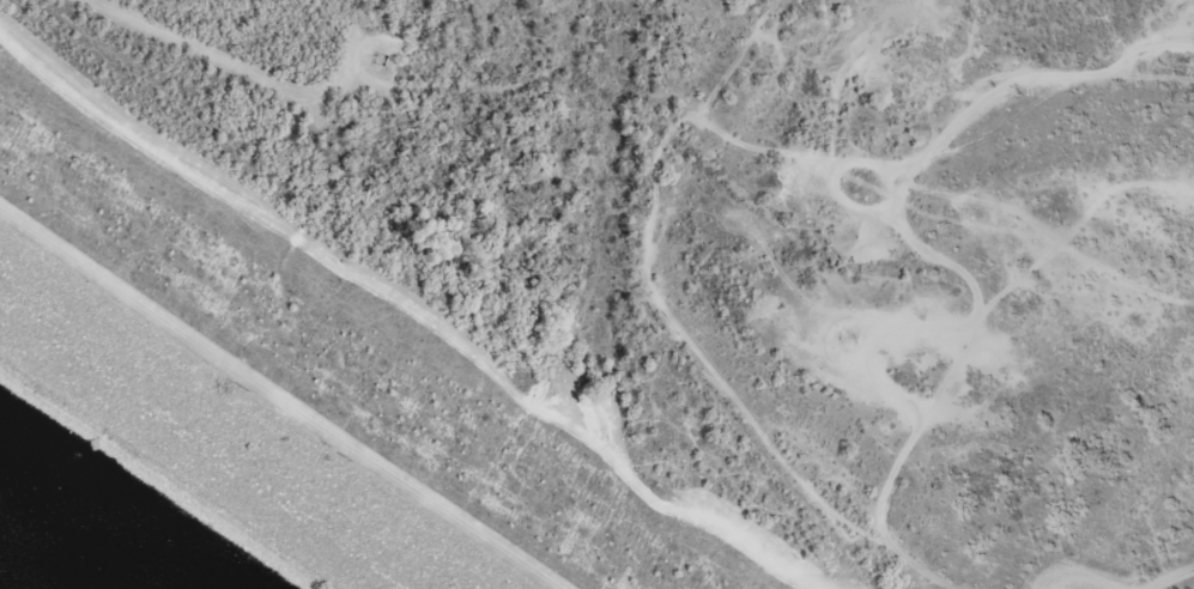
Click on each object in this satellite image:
river: (595, 184)
road: (908, 229)
road: (679, 328)
road: (267, 405)
dam: (253, 413)
river: (493, 479)
road: (1067, 571)

